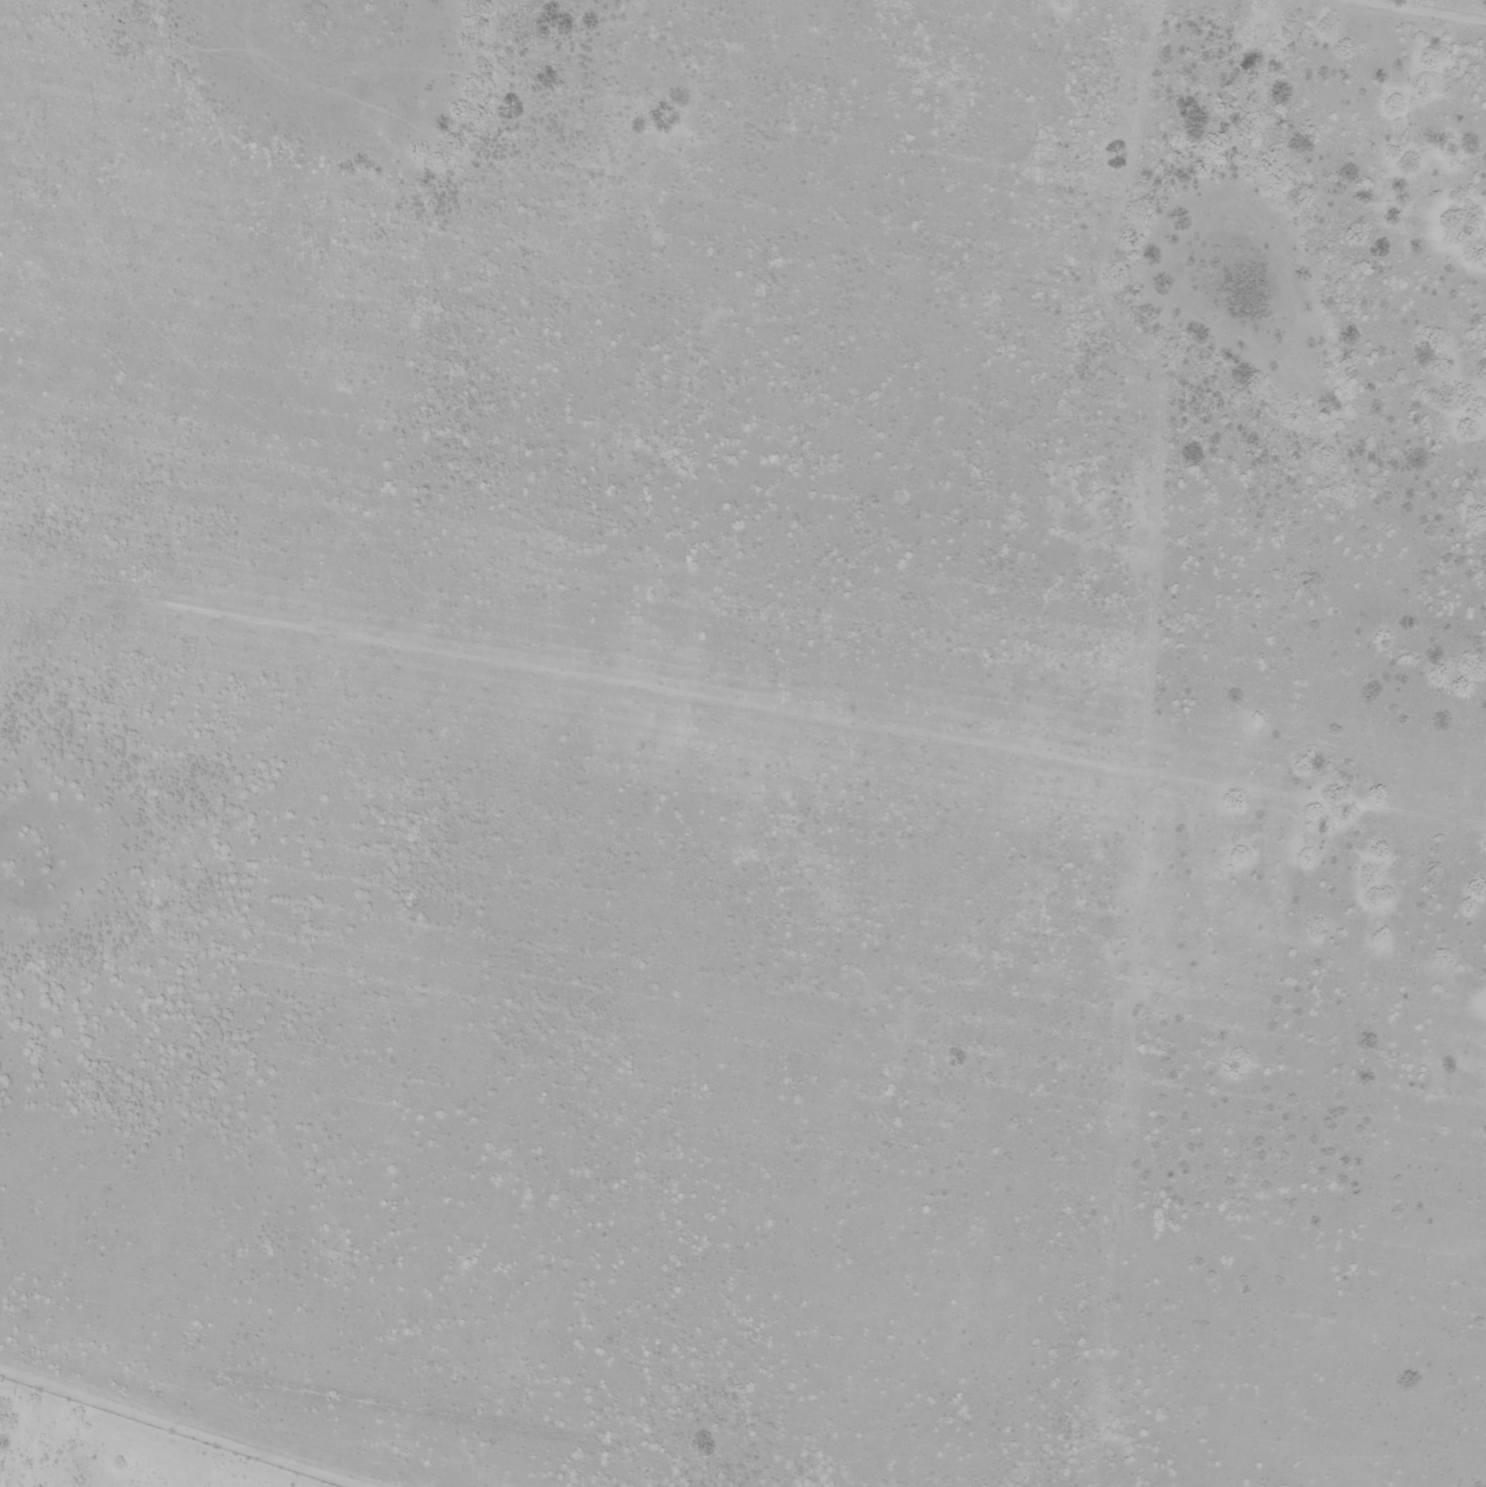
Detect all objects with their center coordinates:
road: (189, 1426)

